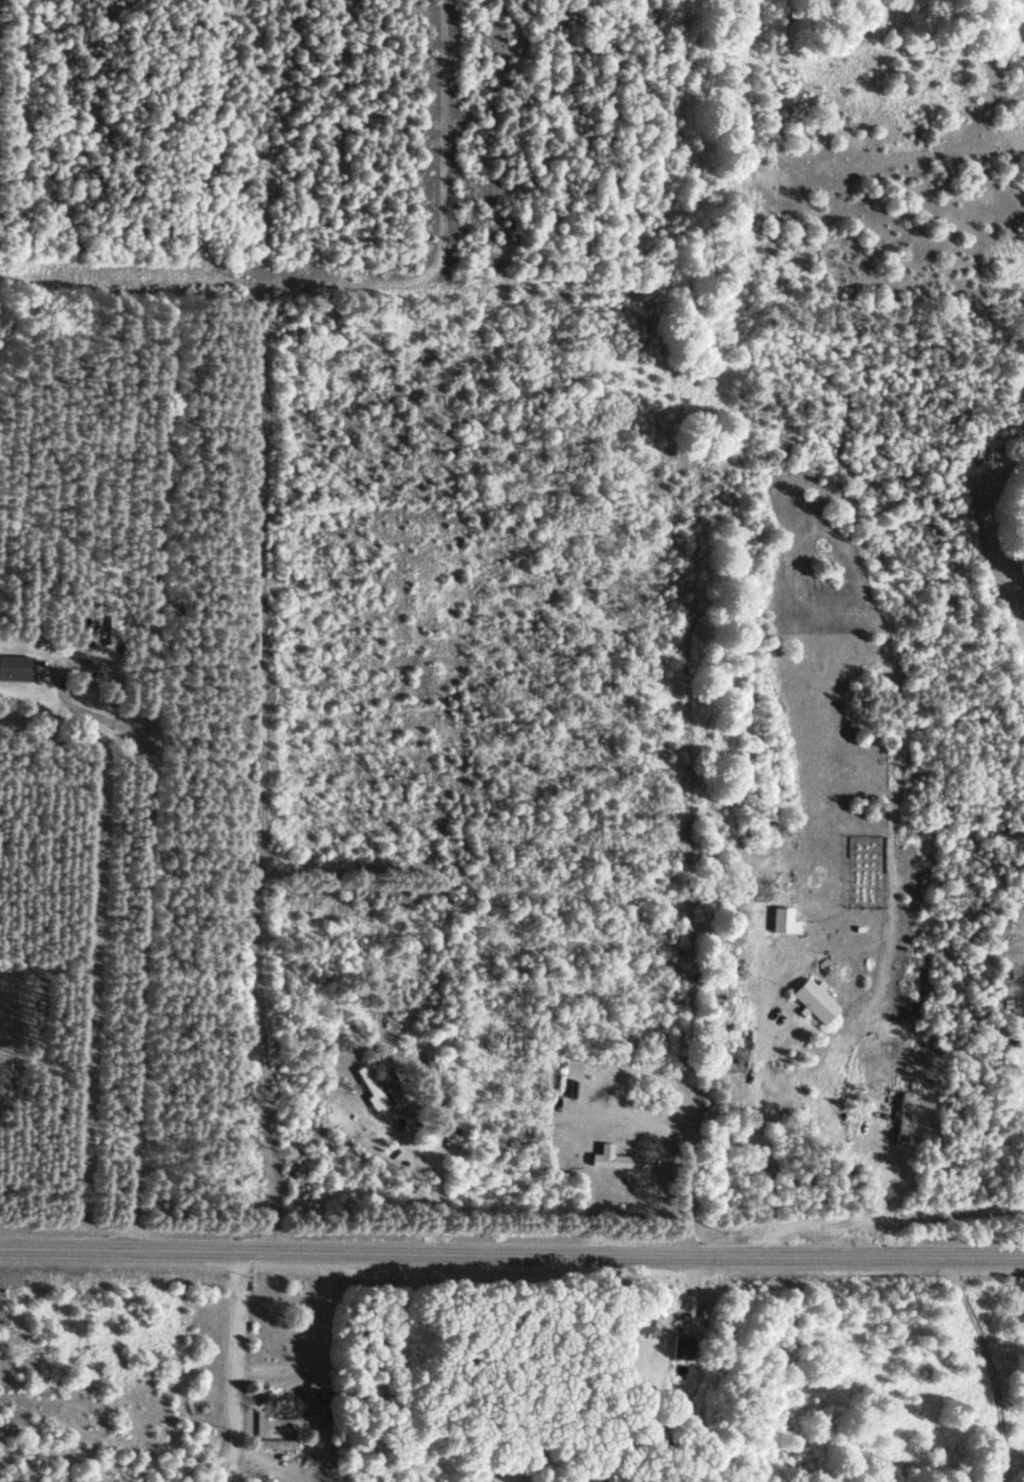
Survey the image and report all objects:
road: (735, 159)
road: (353, 285)
building: (14, 667)
building: (761, 886)
road: (269, 912)
building: (814, 1000)
building: (629, 1042)
building: (430, 1074)
building: (370, 1087)
building: (618, 1161)
road: (627, 1196)
road: (511, 1255)
building: (637, 1322)
building: (682, 1347)
road: (247, 1368)
building: (319, 1392)
building: (279, 1396)
building: (275, 1444)
building: (609, 1477)

